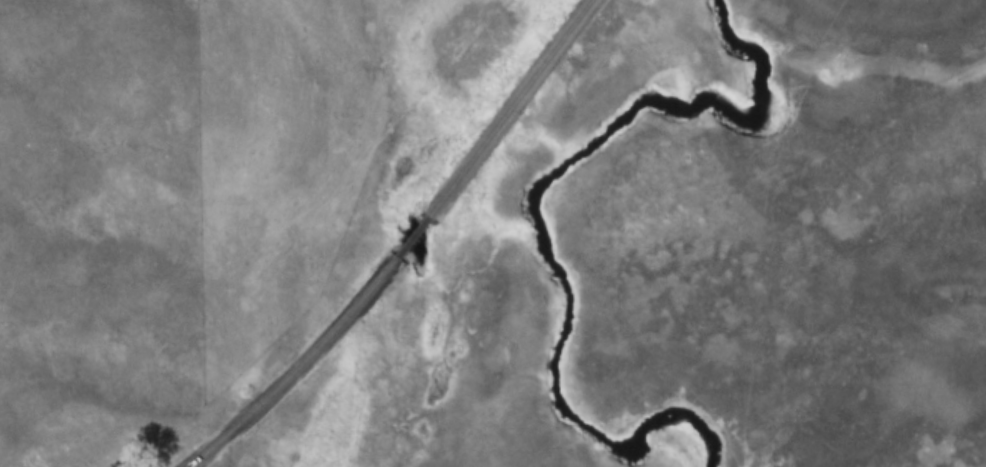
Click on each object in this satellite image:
railway: (391, 246)

